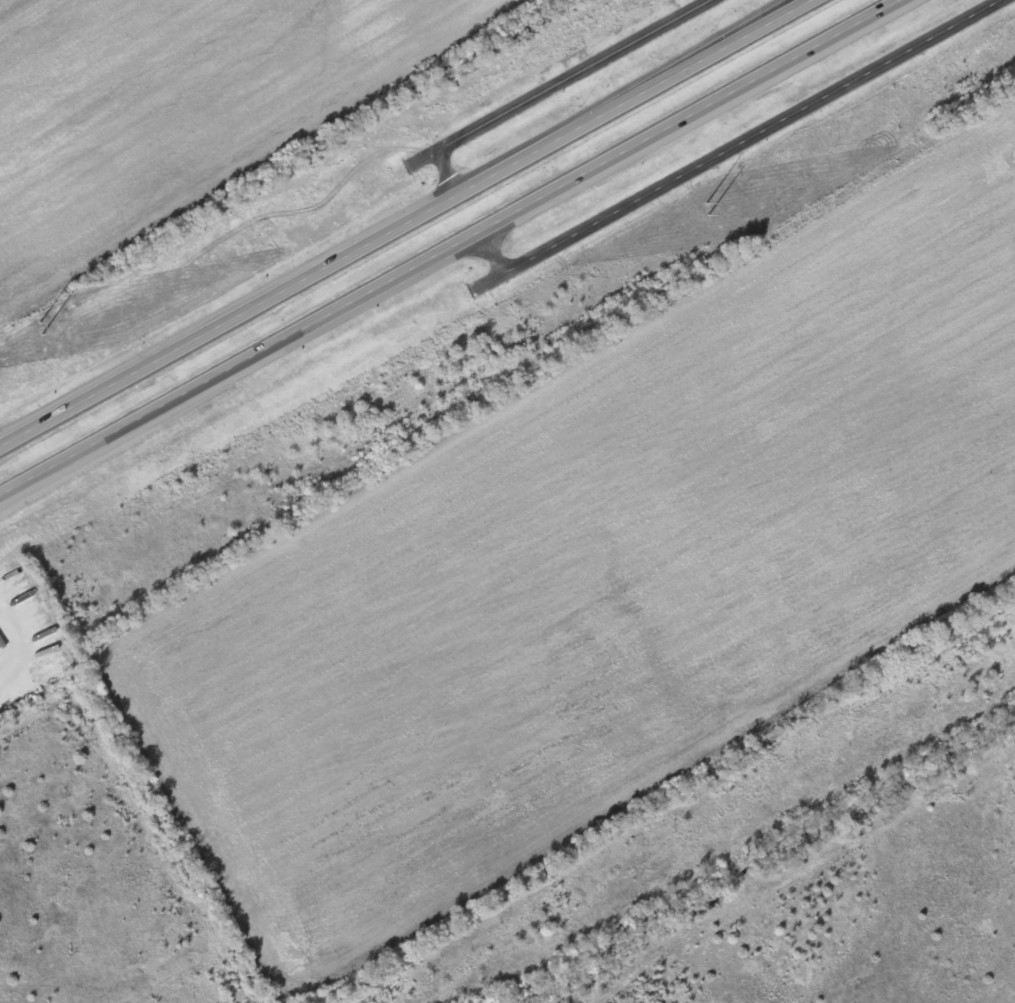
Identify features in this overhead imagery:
road: (565, 86)
crop: (181, 113)
road: (735, 145)
power tower: (708, 208)
road: (406, 223)
road: (450, 248)
power tower: (40, 326)
road: (21, 643)

